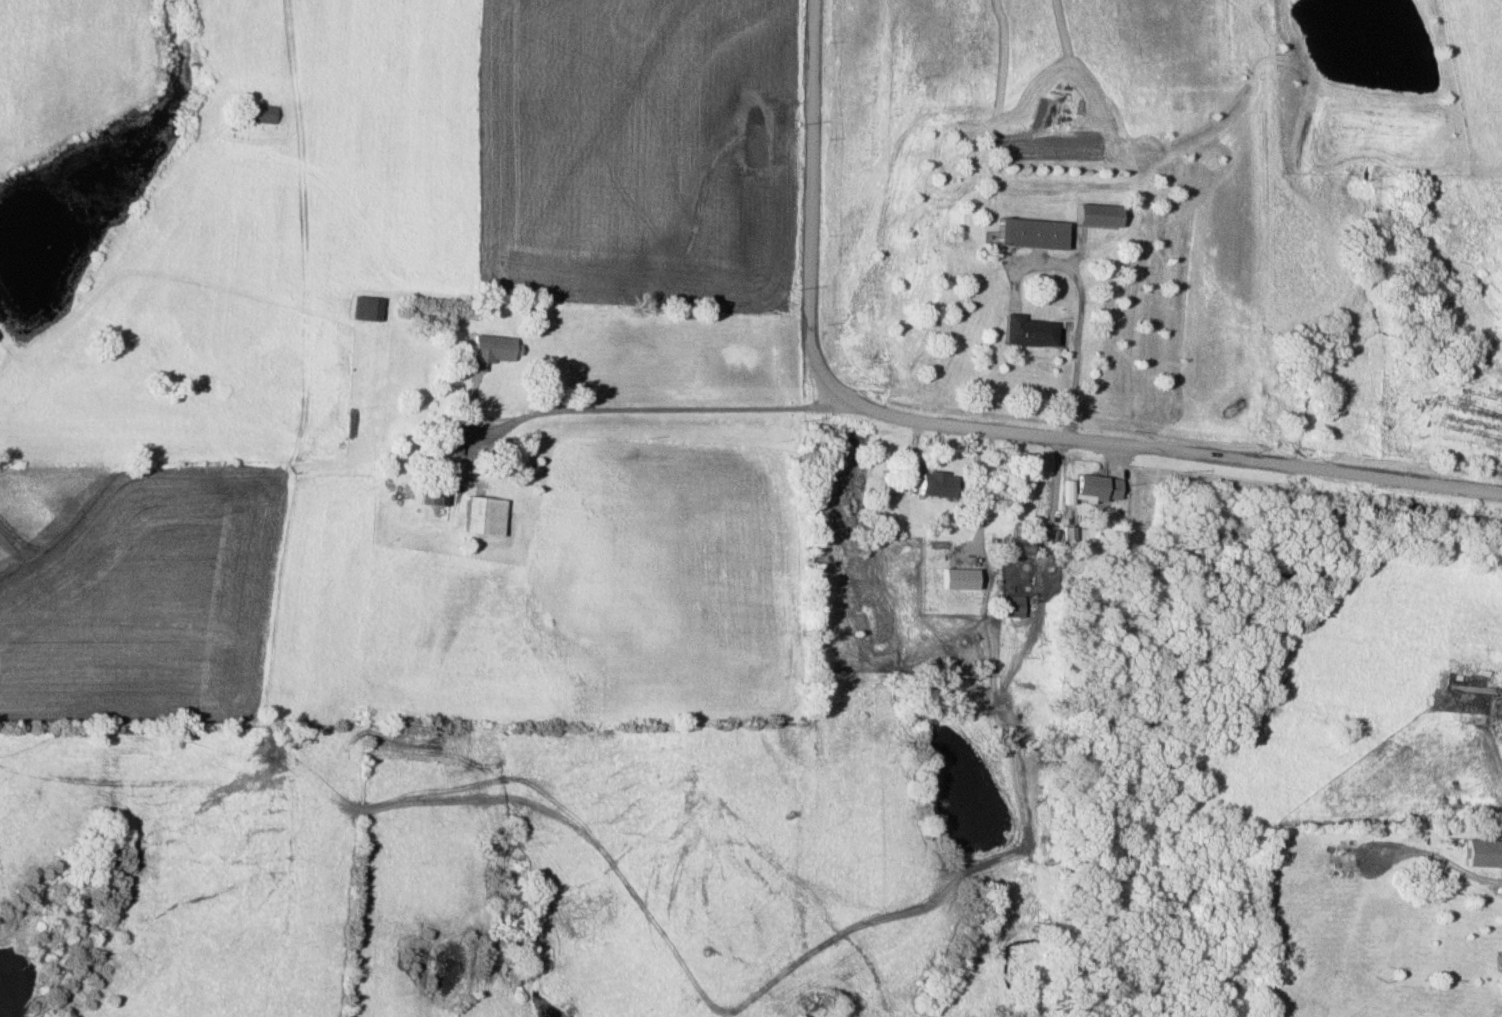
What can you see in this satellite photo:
building: (259, 114)
road: (812, 204)
building: (1095, 214)
building: (1029, 232)
building: (362, 308)
building: (1025, 330)
building: (486, 350)
road: (656, 413)
building: (448, 439)
road: (1162, 455)
building: (932, 483)
building: (1022, 483)
building: (1094, 487)
building: (440, 489)
building: (481, 515)
building: (1064, 533)
building: (1014, 539)
building: (1005, 605)
road: (1027, 651)
road: (1428, 852)
building: (1482, 853)

